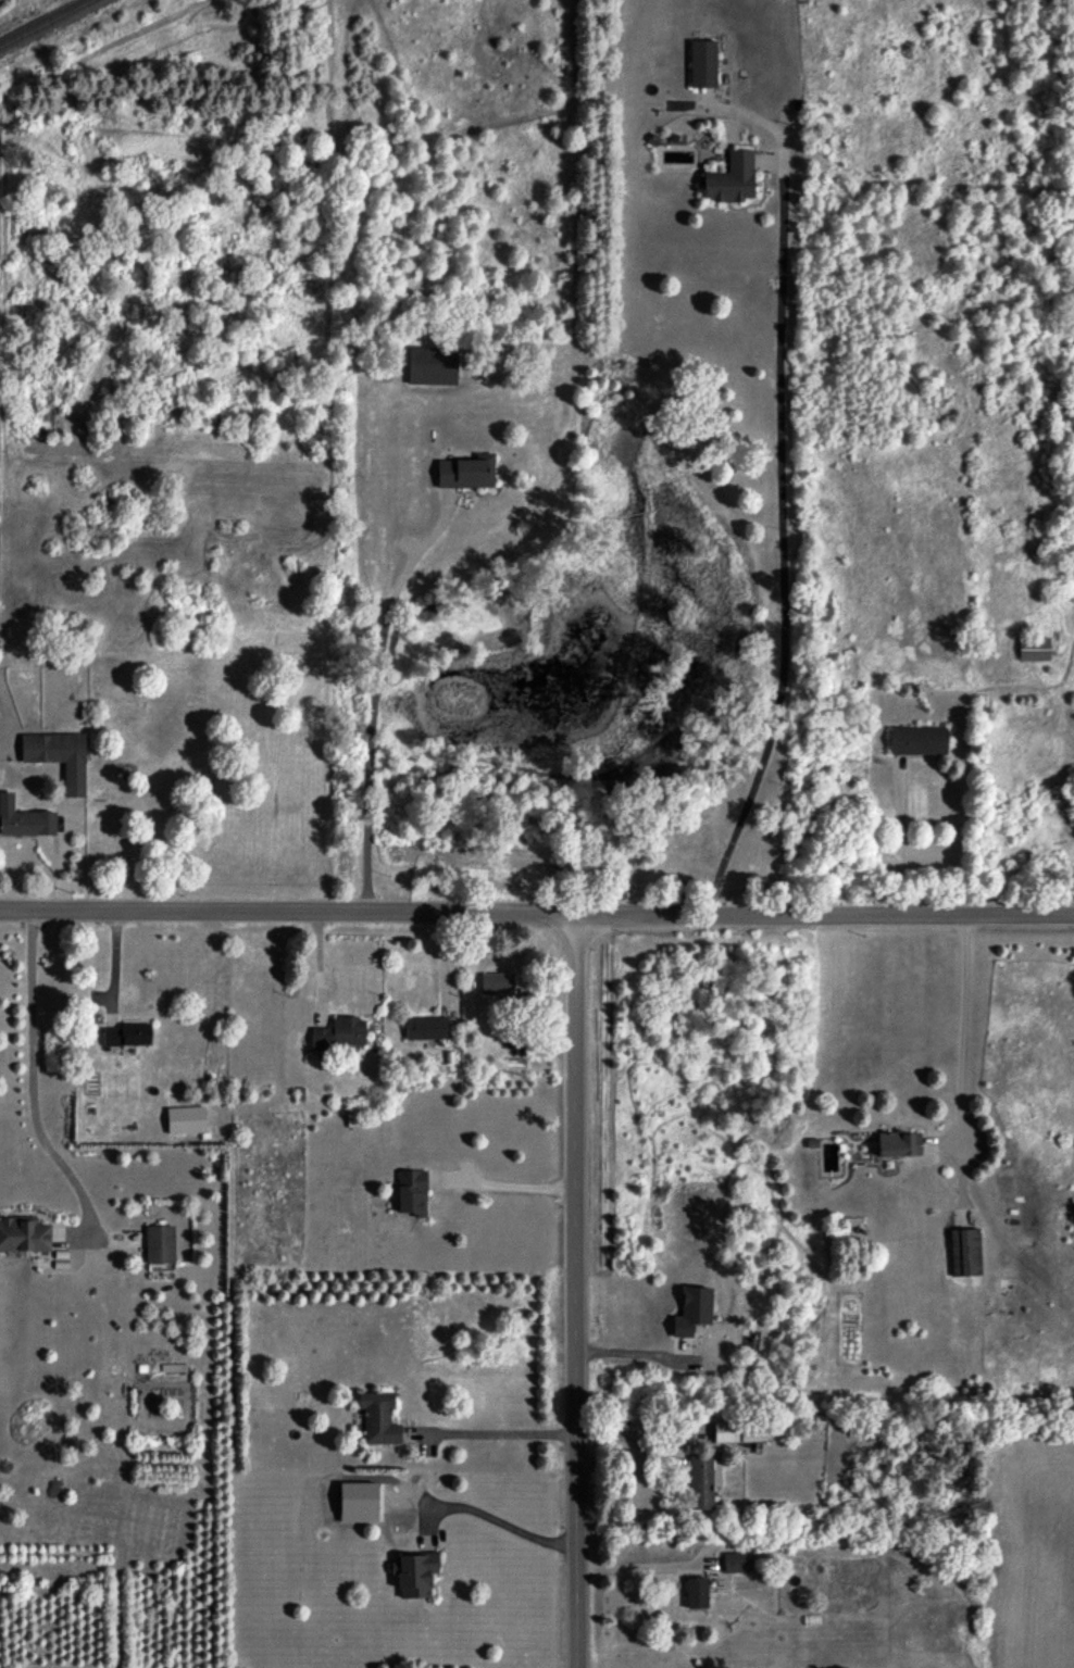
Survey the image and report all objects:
railway: (41, 22)
building: (702, 63)
building: (730, 178)
building: (433, 365)
building: (466, 472)
road: (783, 541)
building: (1033, 649)
road: (373, 693)
building: (917, 740)
building: (59, 756)
building: (24, 818)
road: (897, 838)
road: (536, 917)
building: (496, 982)
building: (426, 1027)
building: (338, 1033)
building: (127, 1034)
road: (962, 1036)
road: (30, 1084)
building: (186, 1119)
building: (899, 1143)
road: (507, 1184)
building: (412, 1191)
building: (24, 1233)
building: (160, 1243)
building: (965, 1252)
road: (579, 1293)
building: (692, 1309)
road: (641, 1354)
building: (378, 1417)
building: (736, 1431)
road: (500, 1432)
road: (632, 1440)
building: (704, 1481)
road: (488, 1516)
building: (735, 1562)
road: (644, 1564)
building: (414, 1573)
building: (696, 1592)

